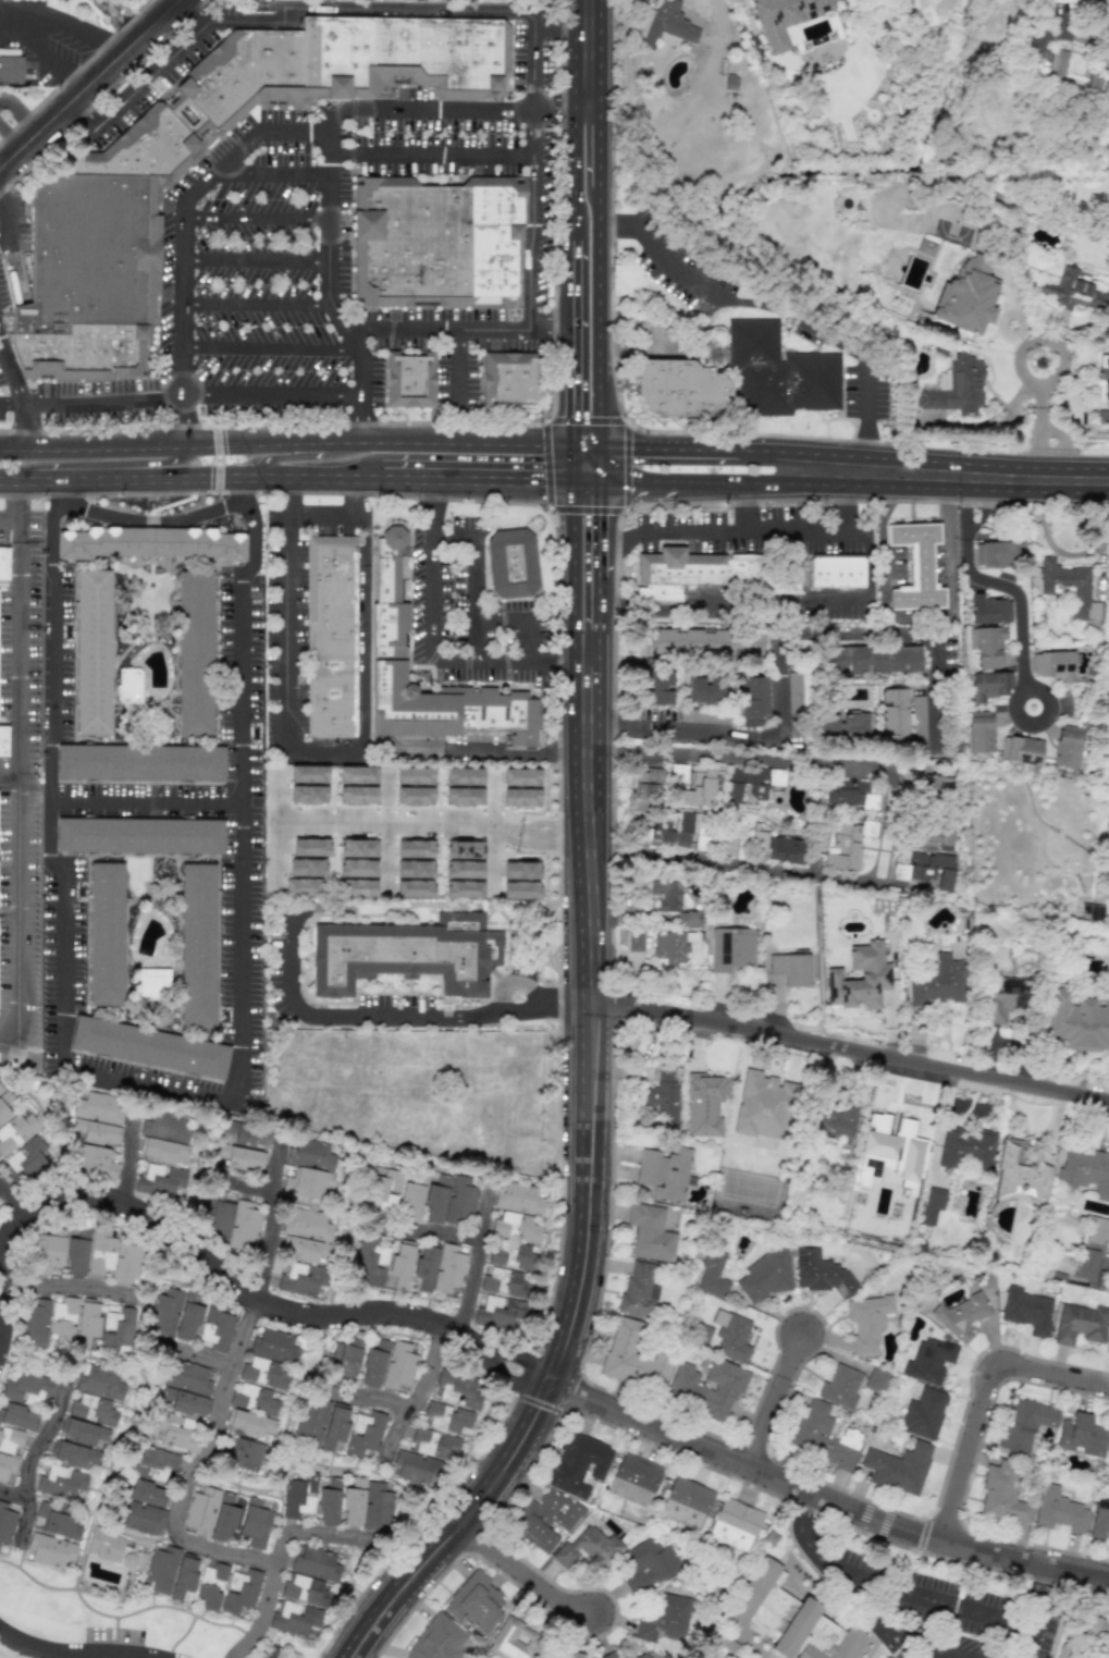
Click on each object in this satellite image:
road: (369, 8)
road: (196, 10)
building: (784, 19)
road: (62, 25)
building: (666, 25)
road: (1099, 27)
road: (588, 54)
road: (53, 64)
building: (1057, 64)
road: (537, 65)
building: (11, 70)
road: (150, 74)
building: (1093, 81)
road: (90, 84)
road: (101, 97)
road: (415, 109)
road: (563, 110)
road: (82, 112)
road: (21, 113)
road: (26, 113)
road: (537, 133)
road: (10, 137)
road: (241, 146)
road: (597, 147)
road: (432, 156)
road: (329, 164)
road: (271, 171)
road: (0, 195)
road: (329, 195)
road: (7, 218)
road: (256, 219)
building: (439, 236)
road: (184, 238)
road: (328, 240)
road: (532, 241)
building: (925, 247)
building: (88, 253)
road: (256, 259)
building: (1040, 263)
road: (570, 274)
road: (184, 280)
road: (326, 282)
building: (1071, 290)
building: (1106, 295)
building: (966, 296)
road: (256, 303)
road: (773, 307)
road: (597, 317)
road: (335, 318)
road: (549, 320)
road: (183, 324)
road: (438, 331)
road: (349, 340)
road: (1040, 342)
road: (269, 348)
road: (638, 353)
road: (457, 364)
road: (11, 369)
road: (183, 371)
road: (362, 371)
building: (777, 373)
building: (414, 380)
building: (510, 380)
building: (942, 381)
building: (957, 388)
building: (1104, 388)
building: (679, 389)
road: (273, 395)
road: (91, 398)
road: (1040, 404)
road: (363, 419)
road: (182, 420)
road: (483, 423)
road: (627, 423)
road: (23, 426)
road: (285, 444)
road: (586, 446)
road: (1064, 446)
road: (785, 452)
road: (1039, 452)
road: (304, 456)
road: (218, 458)
road: (100, 464)
road: (543, 464)
road: (600, 464)
road: (571, 465)
road: (189, 476)
road: (1038, 479)
road: (475, 480)
road: (586, 482)
road: (638, 483)
road: (822, 486)
road: (16, 496)
road: (472, 500)
road: (796, 501)
road: (430, 507)
road: (741, 507)
road: (851, 508)
road: (330, 511)
road: (587, 512)
road: (9, 518)
road: (156, 519)
parking lot: (747, 527)
road: (601, 529)
road: (735, 531)
road: (609, 537)
building: (391, 541)
building: (149, 543)
building: (996, 554)
building: (3, 563)
building: (678, 566)
building: (915, 566)
building: (513, 567)
building: (771, 570)
road: (571, 572)
building: (839, 576)
road: (475, 578)
road: (1002, 588)
road: (870, 589)
building: (1071, 589)
road: (599, 602)
road: (705, 603)
building: (309, 607)
building: (988, 610)
road: (920, 614)
road: (519, 623)
road: (905, 630)
building: (332, 635)
building: (706, 641)
road: (591, 642)
building: (986, 642)
road: (428, 647)
building: (91, 652)
building: (195, 653)
building: (872, 659)
road: (557, 660)
building: (1055, 665)
building: (989, 684)
road: (613, 686)
building: (656, 687)
building: (705, 690)
building: (752, 700)
building: (894, 715)
building: (845, 725)
building: (979, 732)
road: (728, 733)
building: (3, 741)
building: (1067, 746)
building: (1020, 750)
road: (330, 753)
road: (492, 754)
building: (139, 762)
building: (308, 774)
building: (357, 774)
road: (9, 775)
building: (415, 775)
building: (464, 776)
building: (520, 777)
building: (927, 785)
road: (17, 786)
building: (646, 788)
building: (699, 789)
building: (756, 791)
building: (308, 794)
building: (356, 795)
building: (849, 795)
building: (415, 796)
building: (463, 796)
building: (520, 797)
road: (147, 807)
road: (889, 820)
road: (429, 823)
building: (667, 832)
building: (139, 835)
building: (932, 836)
building: (725, 844)
building: (847, 844)
building: (310, 847)
building: (775, 847)
building: (357, 848)
building: (415, 848)
building: (464, 849)
building: (306, 867)
building: (357, 868)
building: (464, 869)
building: (925, 869)
building: (415, 880)
building: (520, 880)
building: (303, 887)
building: (358, 887)
building: (464, 889)
building: (665, 895)
building: (687, 919)
building: (106, 934)
building: (634, 941)
building: (198, 946)
building: (671, 946)
building: (731, 948)
building: (406, 954)
building: (791, 969)
building: (860, 978)
building: (938, 981)
building: (151, 983)
building: (1002, 998)
road: (587, 1006)
road: (655, 1011)
building: (1077, 1021)
building: (149, 1047)
road: (163, 1085)
building: (663, 1095)
building: (3, 1103)
building: (705, 1103)
building: (764, 1106)
building: (838, 1116)
building: (97, 1119)
building: (163, 1126)
building: (15, 1131)
building: (246, 1133)
building: (966, 1147)
building: (161, 1150)
building: (888, 1153)
road: (128, 1158)
building: (239, 1158)
building: (25, 1159)
building: (95, 1162)
building: (308, 1168)
building: (664, 1171)
building: (1020, 1171)
building: (1085, 1171)
building: (161, 1181)
road: (244, 1184)
building: (387, 1191)
building: (411, 1199)
building: (449, 1200)
road: (10, 1201)
building: (933, 1204)
building: (517, 1212)
building: (231, 1220)
road: (270, 1221)
building: (307, 1225)
building: (1096, 1230)
building: (650, 1232)
road: (429, 1233)
building: (303, 1249)
building: (48, 1251)
building: (101, 1255)
building: (513, 1255)
road: (208, 1261)
road: (475, 1262)
building: (1086, 1263)
building: (383, 1264)
building: (438, 1268)
building: (820, 1273)
building: (712, 1275)
building: (765, 1275)
building: (301, 1279)
building: (503, 1282)
road: (64, 1285)
building: (639, 1289)
building: (1026, 1310)
building: (497, 1312)
building: (174, 1315)
building: (961, 1316)
building: (48, 1321)
building: (86, 1322)
building: (866, 1322)
building: (1080, 1324)
road: (448, 1326)
building: (215, 1328)
building: (116, 1329)
building: (730, 1336)
road: (473, 1341)
building: (274, 1347)
building: (1107, 1347)
road: (196, 1353)
building: (633, 1355)
road: (523, 1359)
building: (928, 1360)
building: (343, 1362)
building: (387, 1365)
road: (552, 1365)
building: (263, 1373)
building: (876, 1379)
road: (515, 1381)
building: (100, 1383)
building: (840, 1386)
road: (420, 1387)
building: (686, 1387)
building: (186, 1388)
building: (27, 1389)
road: (368, 1396)
road: (983, 1396)
building: (252, 1399)
road: (538, 1399)
building: (453, 1401)
road: (774, 1401)
building: (91, 1409)
building: (923, 1414)
building: (19, 1417)
building: (248, 1423)
building: (321, 1423)
building: (1024, 1424)
building: (83, 1432)
building: (177, 1432)
building: (365, 1432)
building: (823, 1435)
building: (1081, 1436)
building: (11, 1440)
building: (435, 1444)
building: (74, 1453)
building: (245, 1454)
road: (32, 1457)
building: (1108, 1460)
building: (151, 1463)
building: (577, 1464)
building: (7, 1466)
road: (193, 1466)
building: (417, 1467)
building: (898, 1467)
building: (633, 1481)
building: (61, 1482)
road: (12, 1493)
building: (1002, 1494)
building: (299, 1496)
road: (821, 1499)
building: (686, 1502)
building: (328, 1503)
building: (367, 1505)
building: (144, 1507)
building: (1059, 1510)
building: (210, 1514)
building: (544, 1519)
building: (1099, 1519)
building: (57, 1521)
building: (5, 1523)
building: (255, 1523)
building: (734, 1524)
road: (439, 1537)
building: (104, 1545)
building: (588, 1548)
road: (811, 1548)
building: (50, 1550)
road: (278, 1560)
building: (316, 1564)
building: (648, 1564)
building: (171, 1572)
road: (520, 1573)
building: (211, 1584)
building: (305, 1589)
building: (241, 1591)
road: (1039, 1596)
road: (944, 1601)
building: (475, 1602)
road: (868, 1613)
building: (295, 1619)
building: (665, 1619)
building: (789, 1619)
building: (1093, 1625)
building: (439, 1639)
building: (512, 1641)
road: (1027, 1643)
road: (934, 1646)
building: (722, 1648)
road: (895, 1649)
building: (1067, 1650)
building: (577, 1655)
building: (608, 1655)
building: (765, 1655)
building: (1106, 1655)
road: (74, 1656)
building: (642, 1656)
building: (549, 1657)

